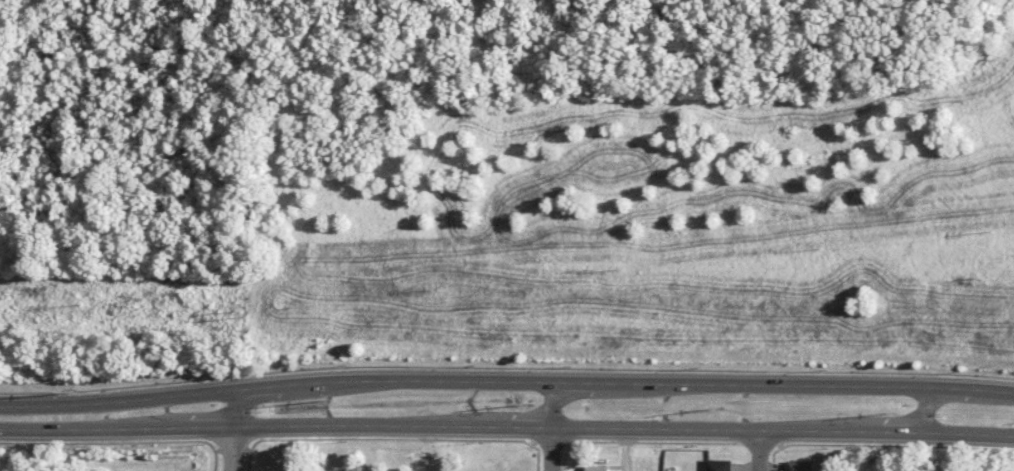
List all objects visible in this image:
power tower: (244, 313)
road: (218, 377)
road: (505, 381)
power tower: (68, 393)
power tower: (332, 400)
power tower: (529, 404)
power tower: (719, 408)
power tower: (896, 412)
road: (507, 426)
road: (553, 426)
road: (233, 430)
road: (759, 450)
building: (718, 465)
building: (799, 465)
building: (597, 468)

